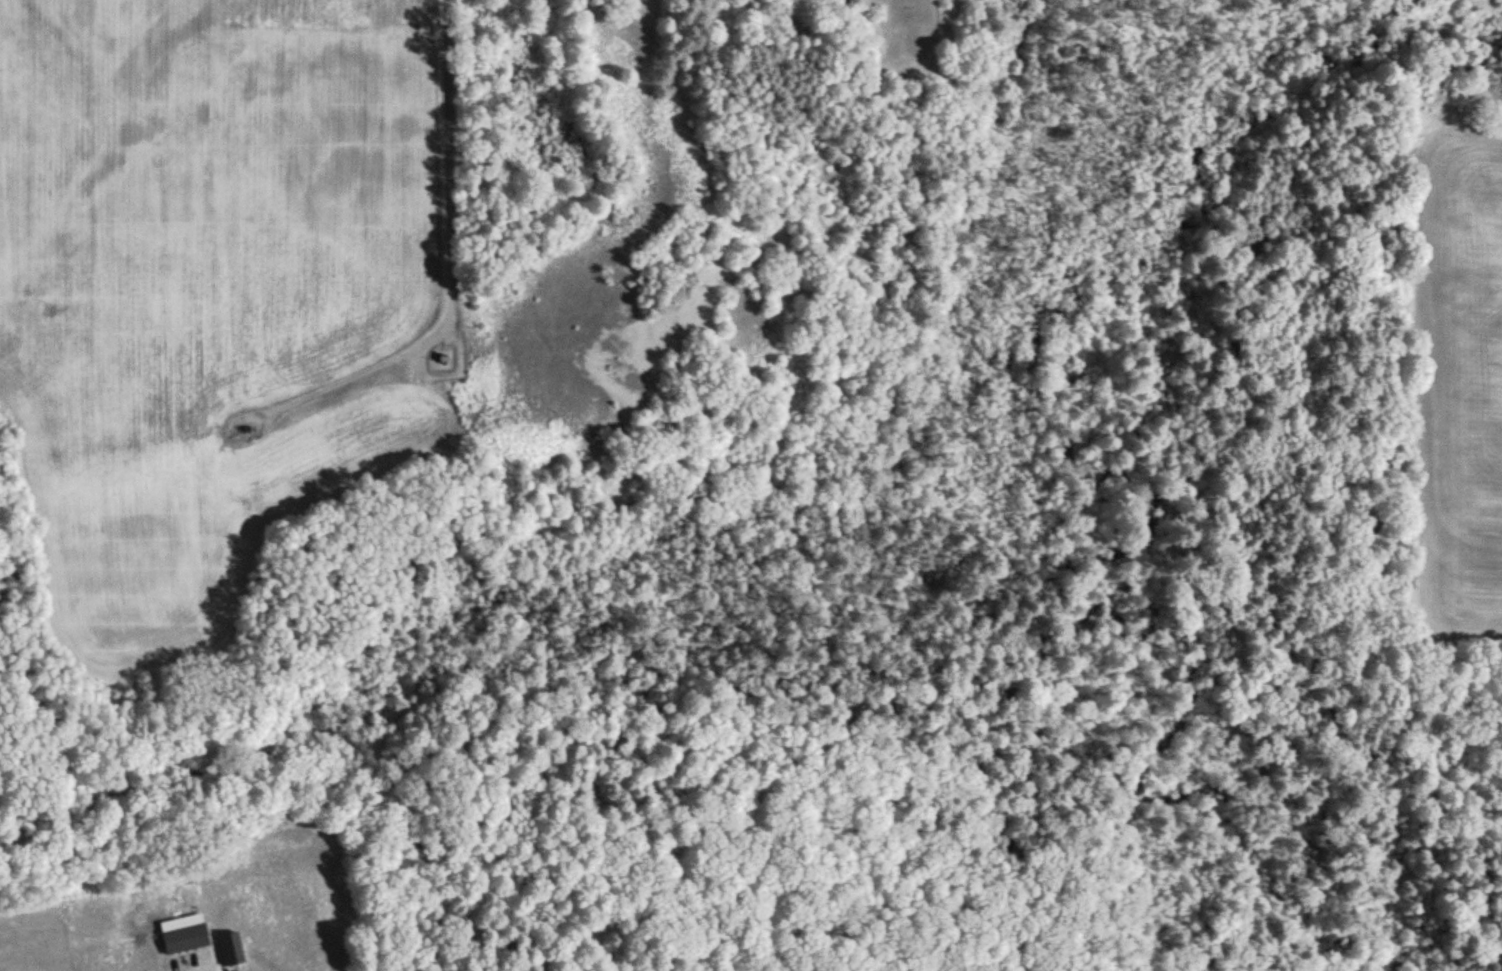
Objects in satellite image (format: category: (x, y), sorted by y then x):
road: (461, 268)
petroleum well: (238, 421)
building: (187, 938)
building: (233, 949)

